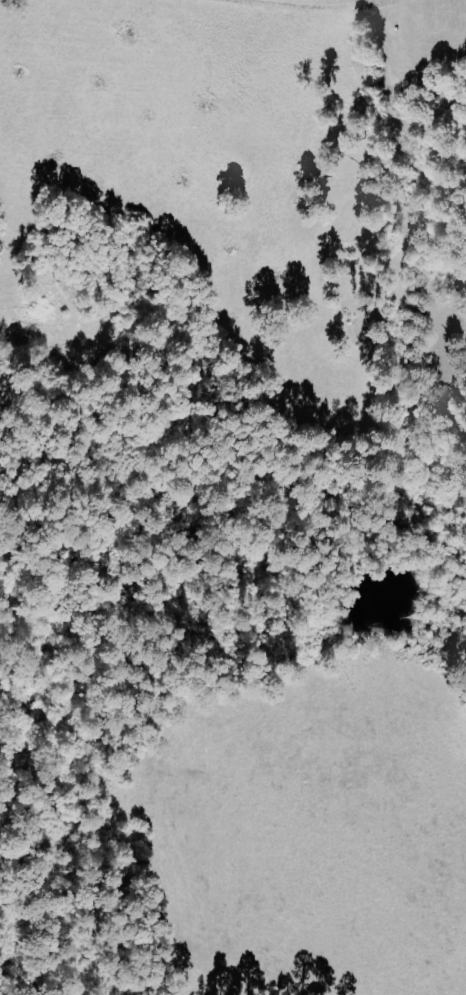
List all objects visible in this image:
road: (322, 7)

